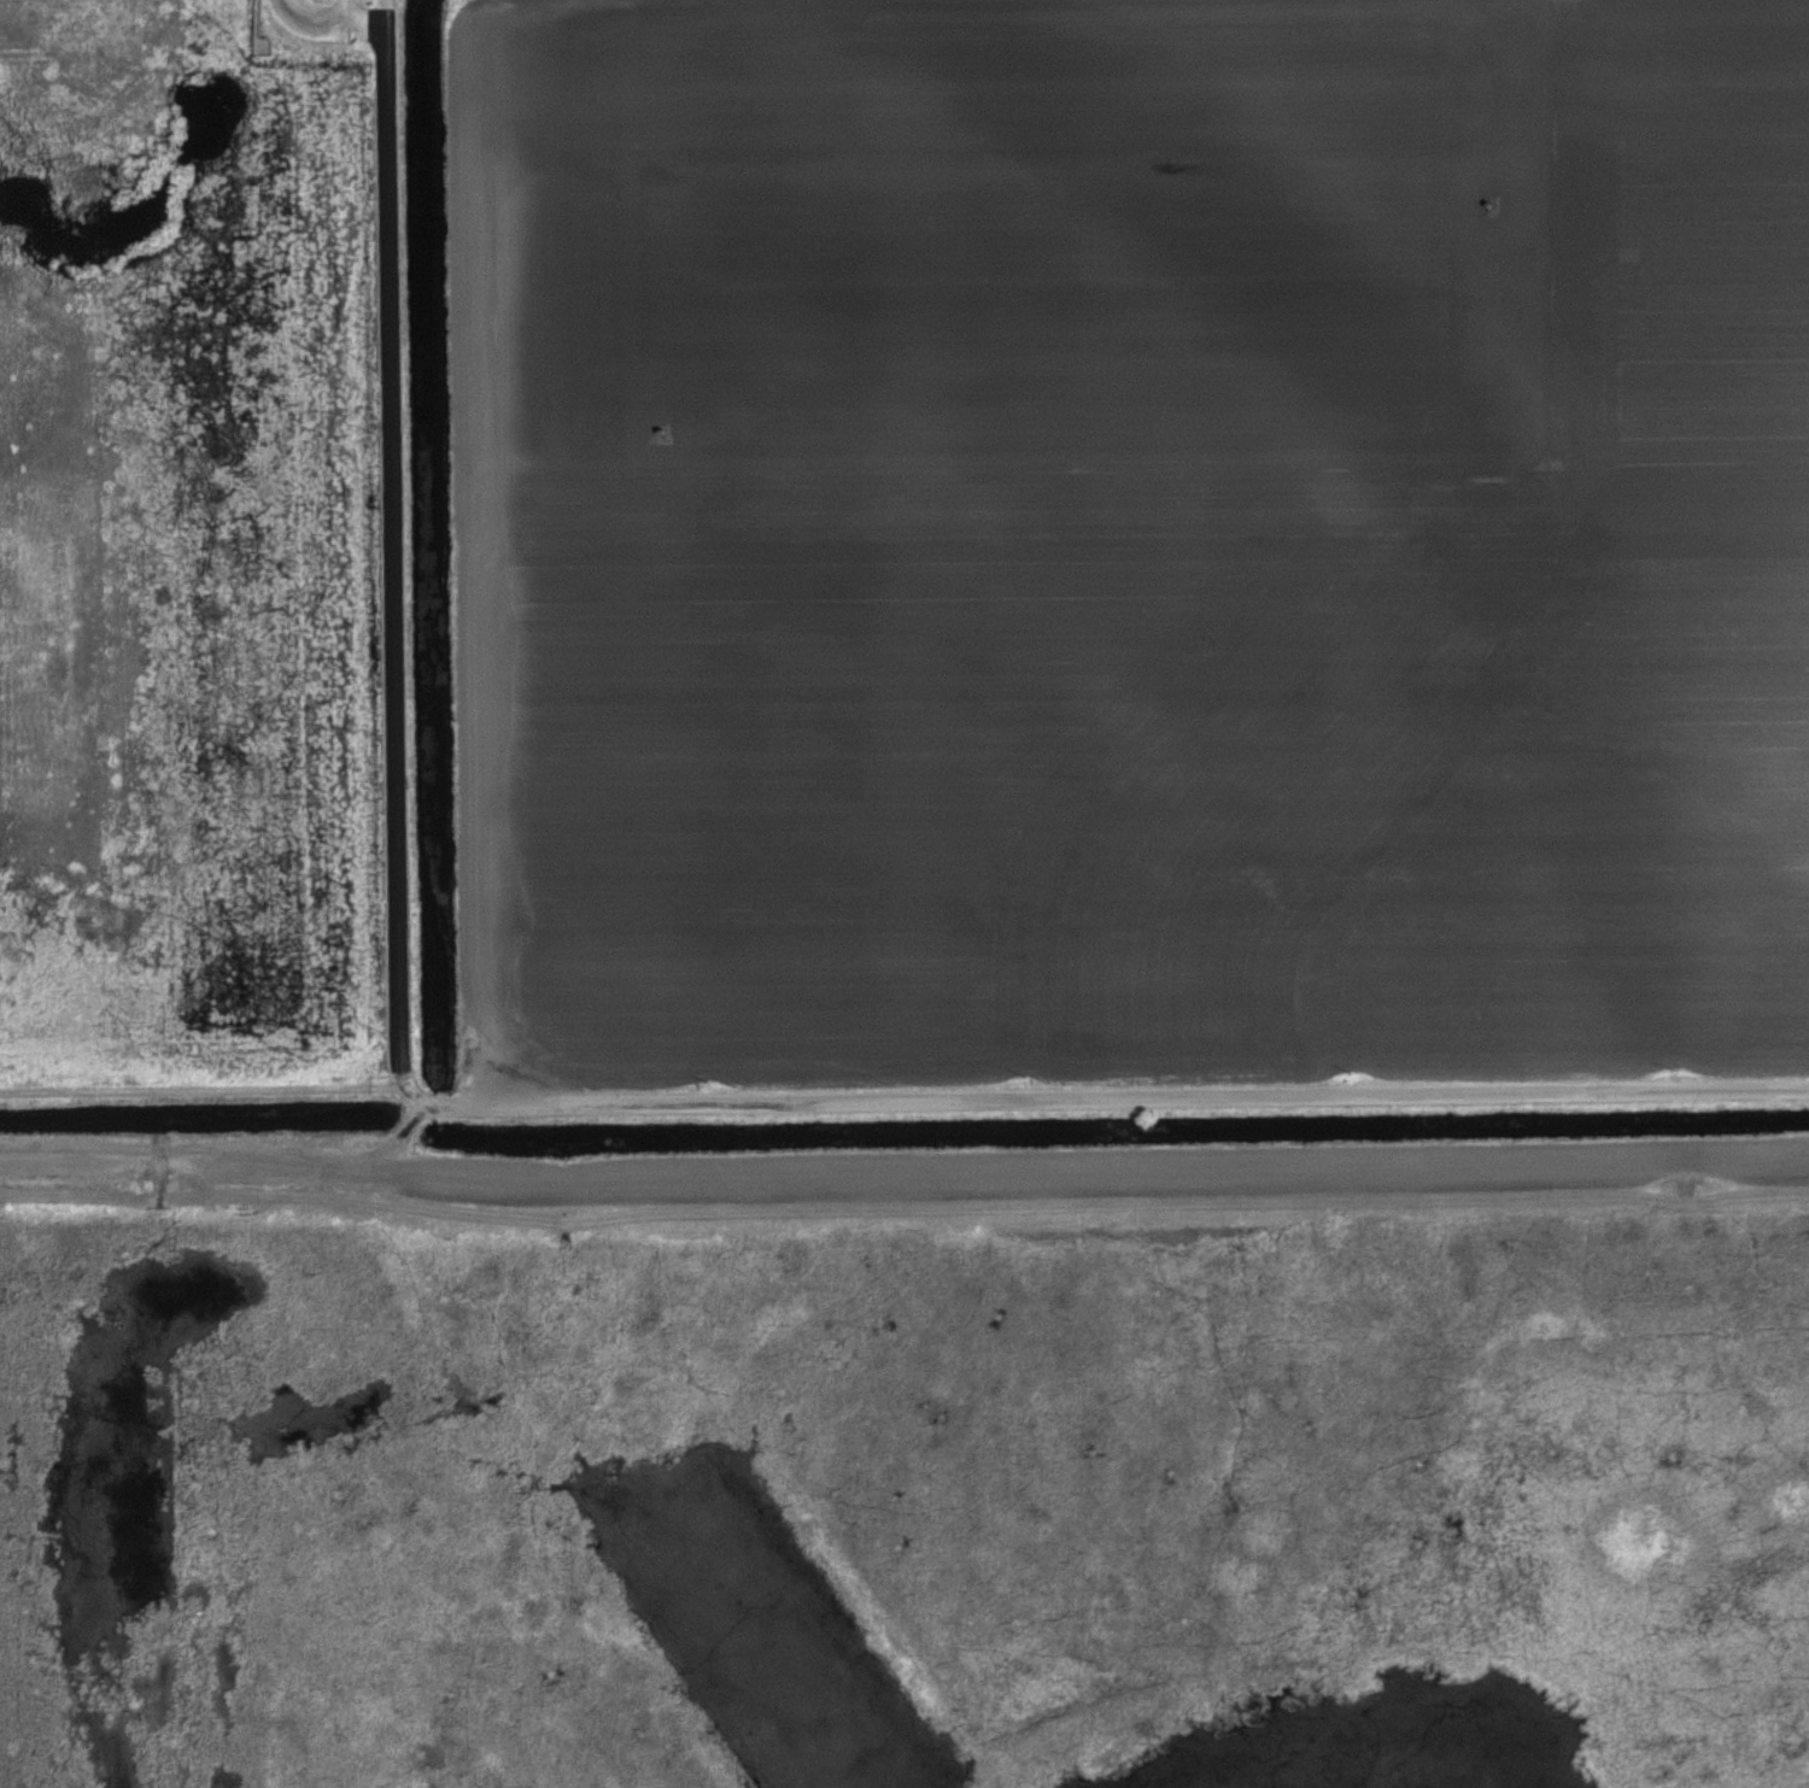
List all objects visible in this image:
building: (260, 46)
road: (391, 557)
road: (201, 1090)
road: (1116, 1098)
road: (222, 1147)

